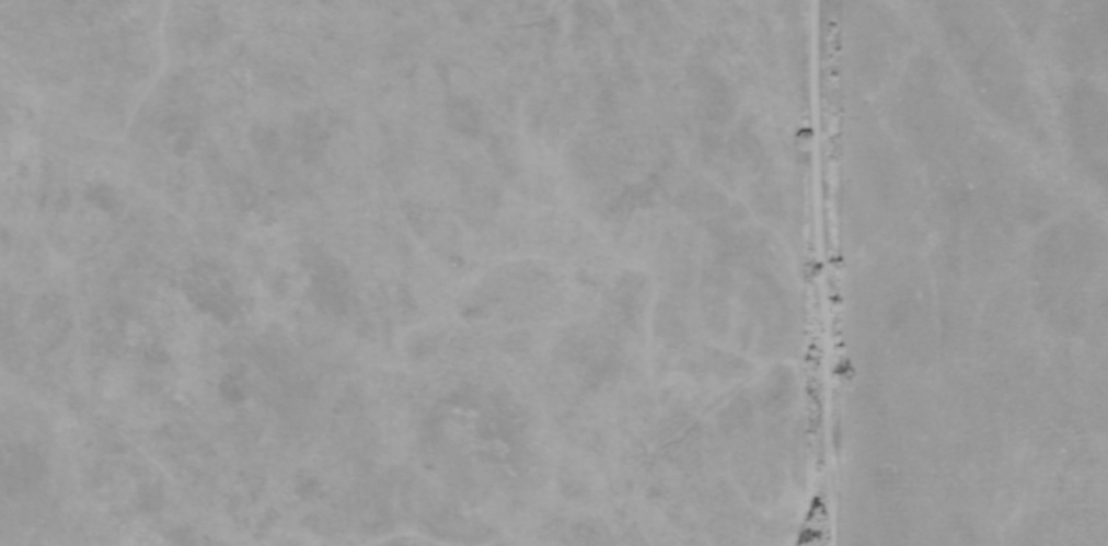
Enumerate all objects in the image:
road: (818, 272)

